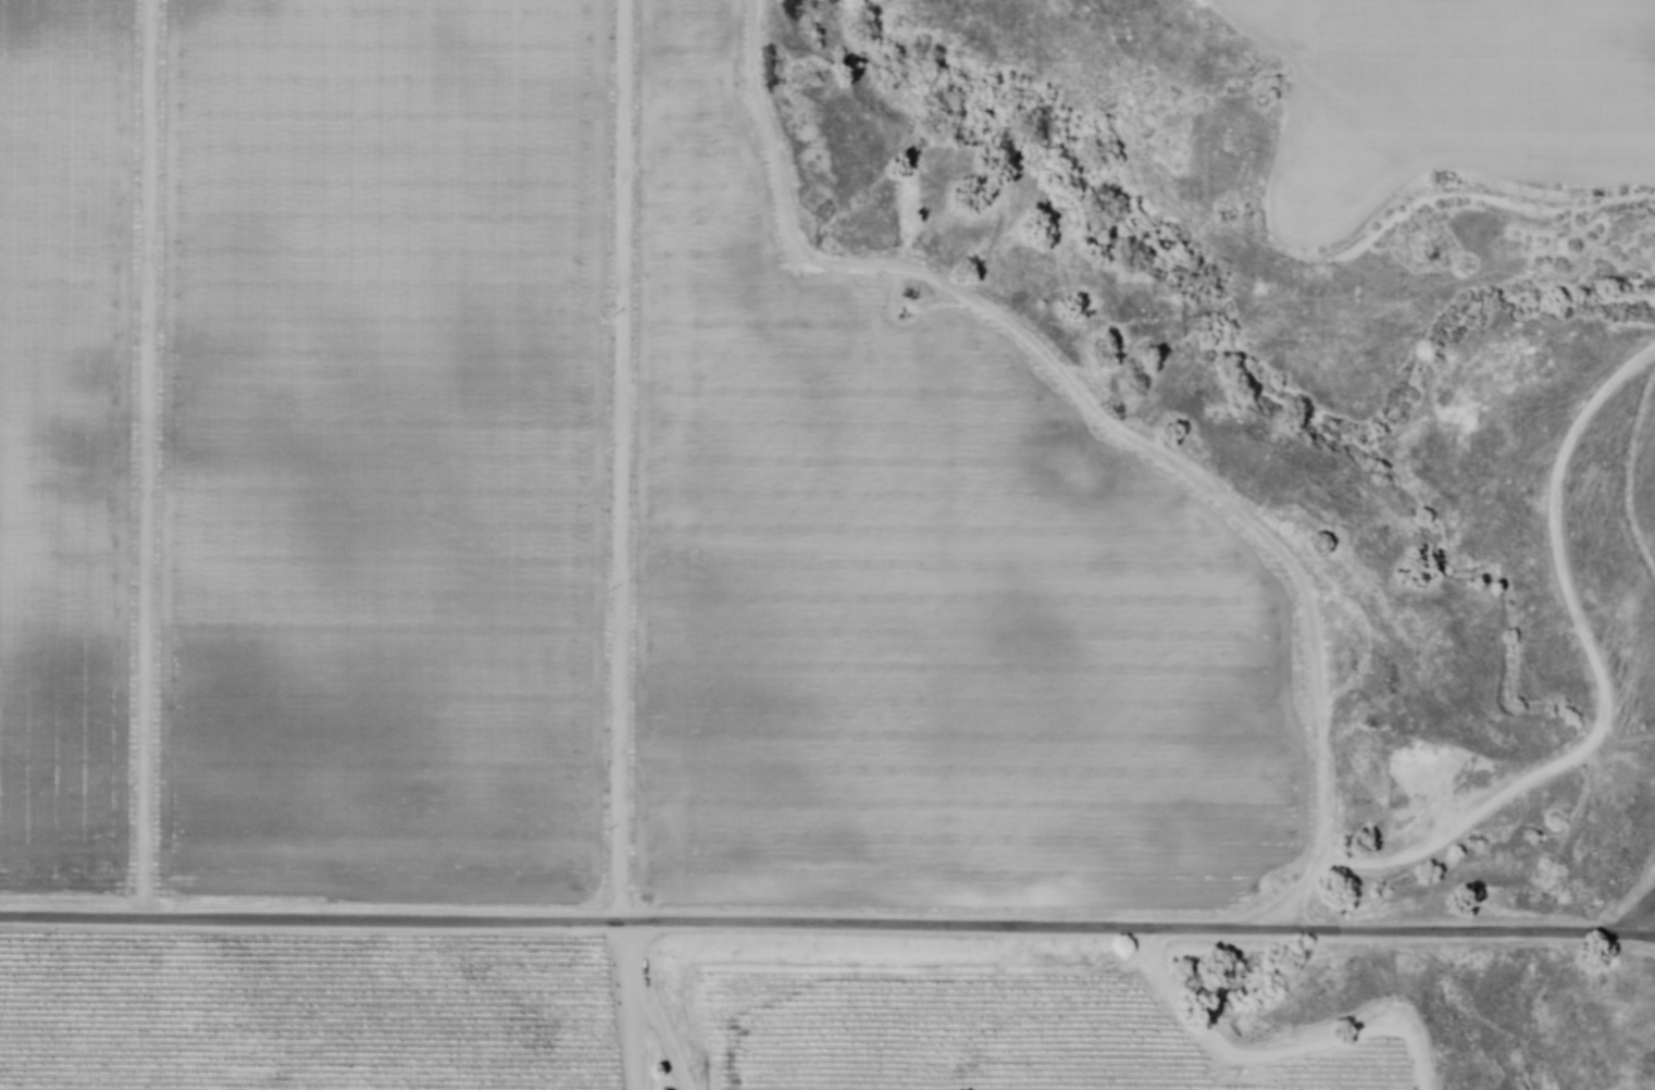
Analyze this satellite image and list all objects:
road: (1107, 421)
road: (148, 459)
road: (622, 461)
road: (1629, 473)
road: (1602, 678)
road: (827, 926)
road: (649, 1008)
road: (637, 1037)
road: (1278, 1055)

